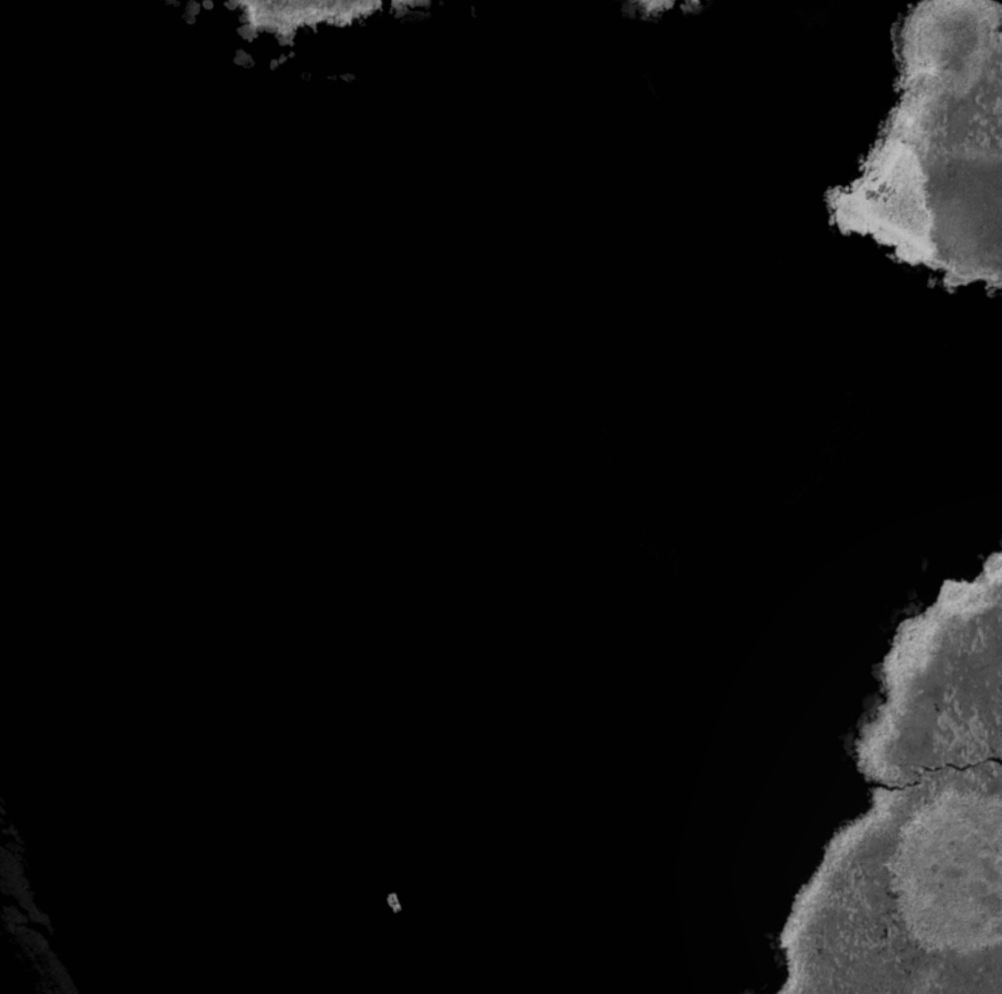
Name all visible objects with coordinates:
river: (129, 813)

